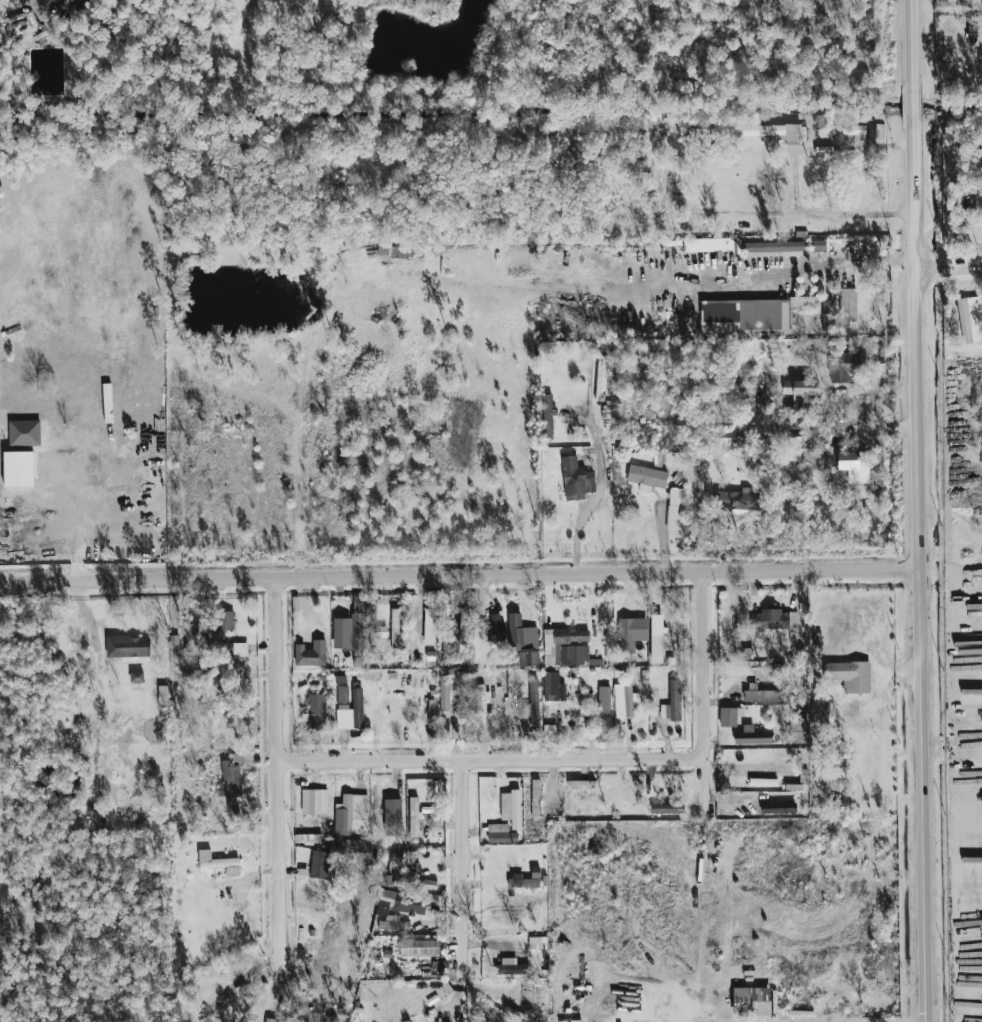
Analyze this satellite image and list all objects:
building: (848, 130)
building: (875, 131)
building: (772, 132)
road: (827, 212)
building: (707, 245)
building: (818, 246)
building: (774, 247)
road: (837, 262)
road: (948, 267)
road: (721, 295)
building: (845, 306)
building: (748, 314)
building: (970, 320)
building: (845, 366)
building: (800, 387)
building: (17, 398)
road: (872, 405)
building: (788, 414)
building: (547, 417)
building: (23, 433)
building: (799, 459)
building: (18, 469)
building: (646, 476)
building: (575, 479)
building: (737, 500)
building: (675, 509)
road: (917, 510)
road: (579, 524)
road: (459, 573)
building: (773, 620)
building: (225, 621)
building: (428, 626)
building: (394, 628)
building: (495, 628)
building: (630, 633)
building: (463, 634)
building: (656, 638)
building: (523, 643)
building: (127, 647)
building: (565, 647)
building: (239, 650)
building: (310, 654)
road: (703, 665)
building: (849, 675)
building: (459, 682)
building: (550, 686)
building: (444, 693)
building: (762, 695)
building: (532, 696)
building: (624, 700)
building: (603, 701)
building: (672, 703)
building: (480, 704)
building: (316, 711)
building: (350, 711)
building: (727, 717)
building: (549, 733)
building: (751, 736)
road: (491, 757)
road: (284, 768)
building: (763, 782)
building: (578, 784)
building: (231, 786)
building: (314, 802)
building: (511, 808)
building: (777, 808)
building: (666, 809)
building: (349, 813)
building: (413, 818)
building: (500, 834)
building: (319, 865)
building: (222, 866)
road: (466, 870)
building: (414, 883)
road: (705, 890)
building: (403, 903)
building: (418, 947)
building: (511, 969)
building: (751, 1002)
building: (267, 1020)

